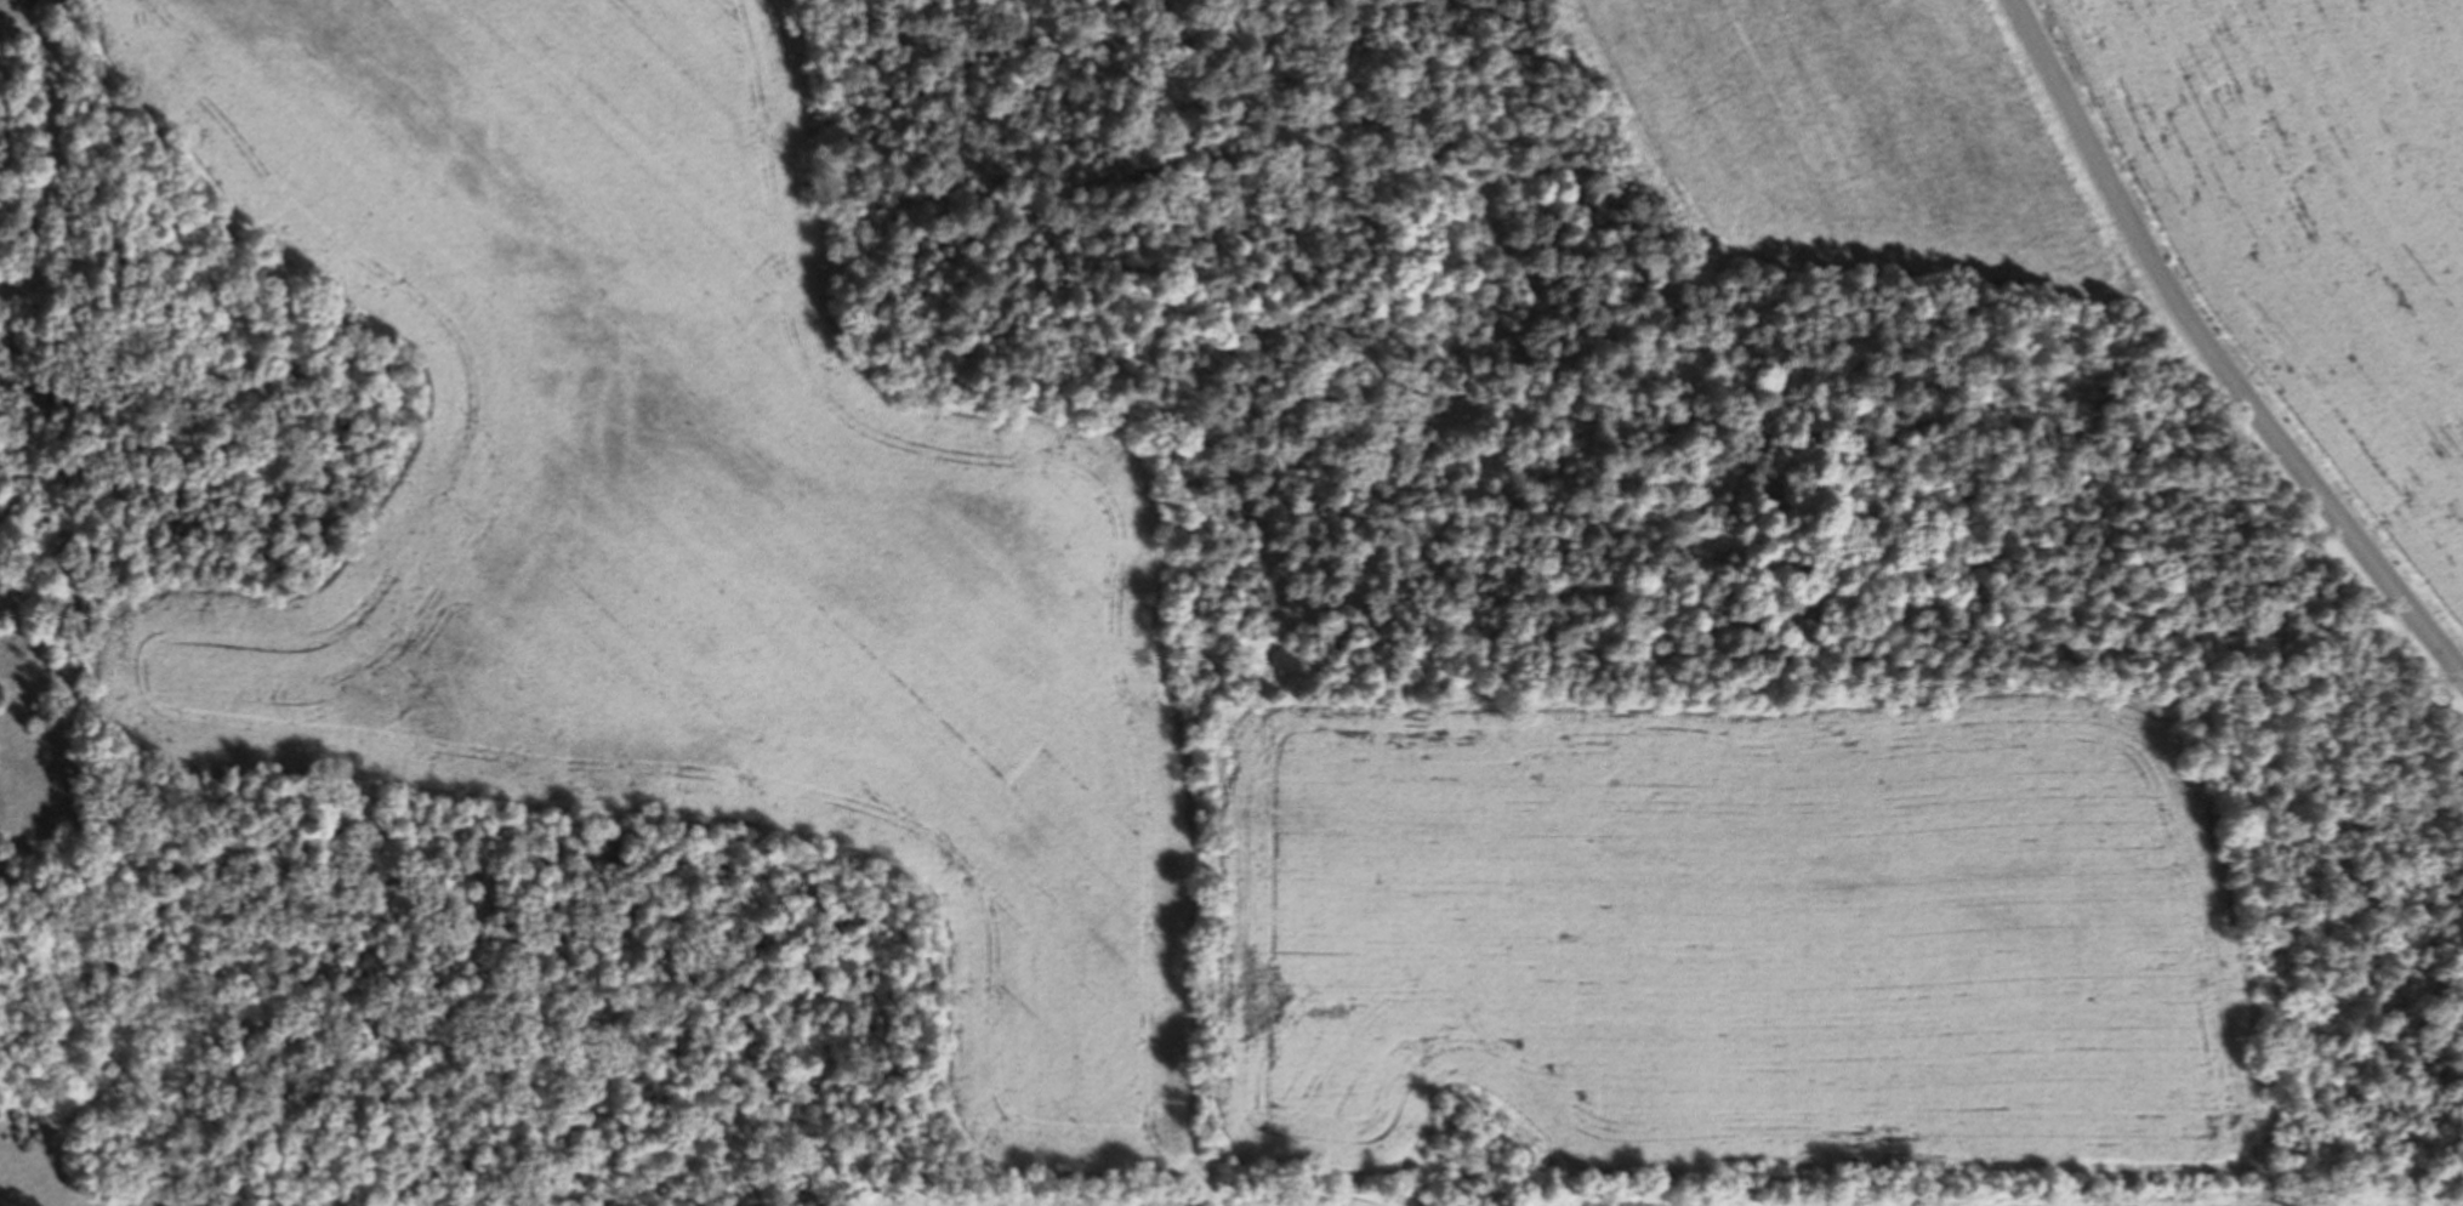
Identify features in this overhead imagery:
road: (2212, 355)

